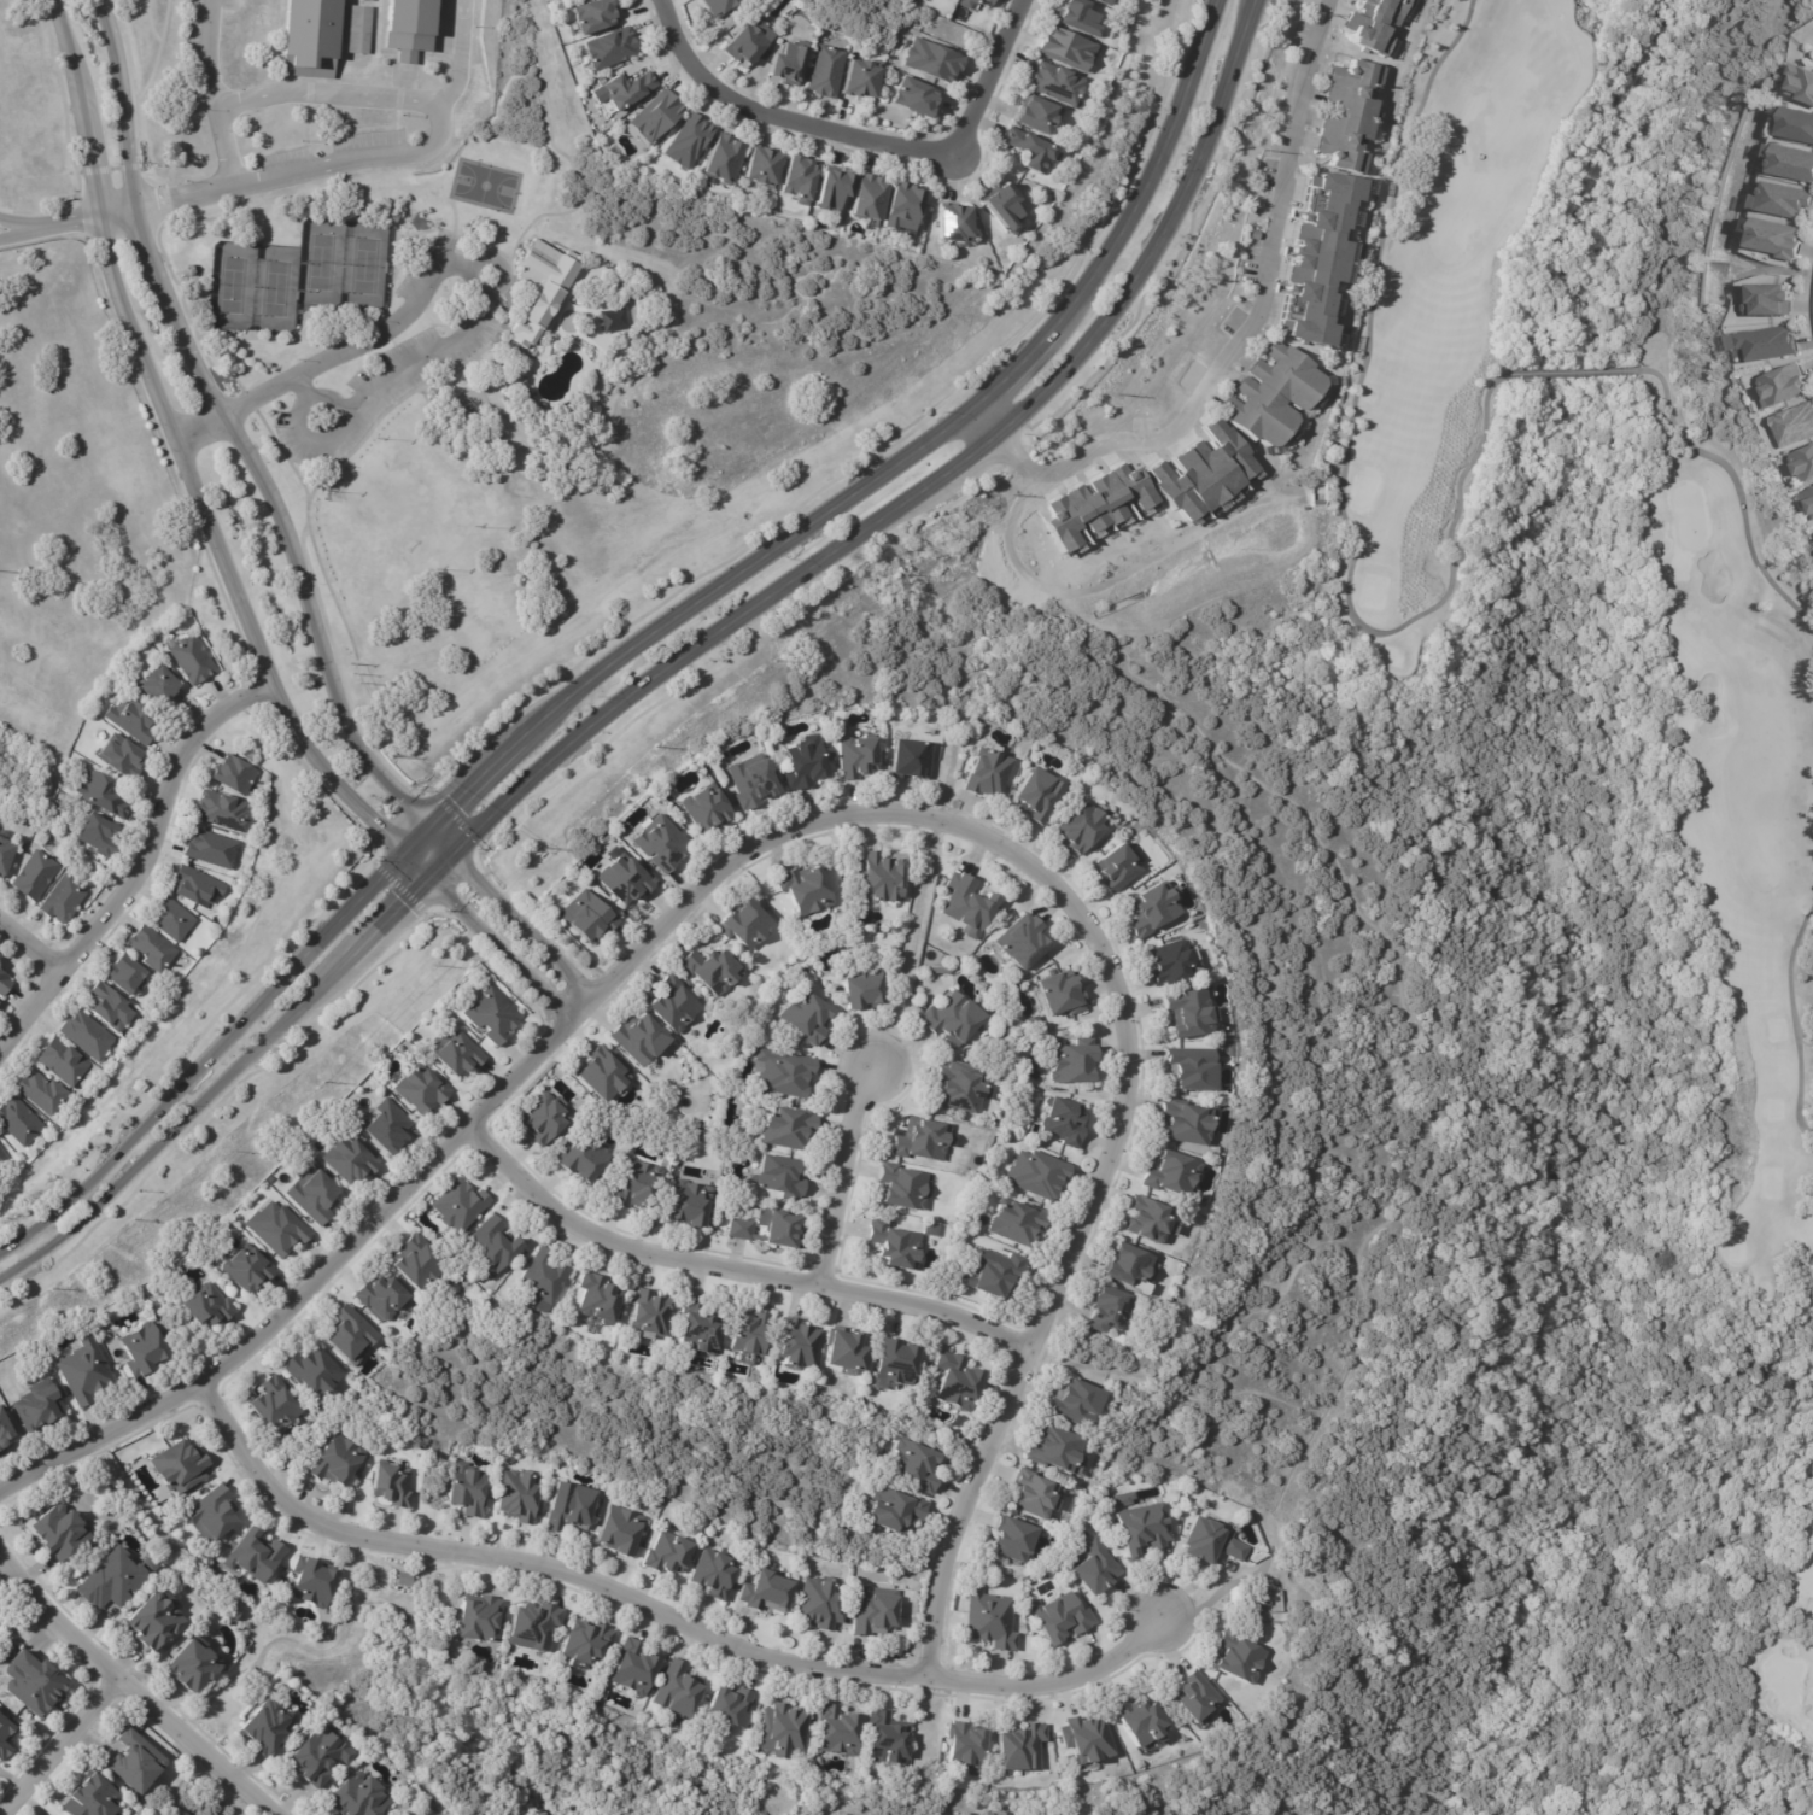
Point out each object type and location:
building: (952, 0)
building: (955, 0)
building: (1104, 1)
building: (1110, 1)
building: (976, 2)
building: (718, 6)
building: (1081, 14)
building: (595, 16)
building: (409, 22)
building: (1373, 24)
building: (361, 29)
building: (310, 30)
building: (750, 41)
building: (613, 47)
building: (1069, 47)
building: (932, 59)
building: (788, 66)
building: (829, 70)
building: (864, 80)
building: (1059, 83)
building: (1800, 83)
building: (625, 89)
road: (332, 94)
road: (217, 95)
building: (917, 95)
building: (1345, 109)
building: (1039, 113)
building: (659, 115)
building: (1794, 124)
road: (859, 129)
building: (690, 140)
building: (1030, 148)
building: (727, 157)
building: (1789, 163)
road: (359, 165)
building: (765, 165)
building: (801, 180)
park: (484, 185)
building: (832, 188)
building: (870, 197)
building: (1780, 200)
building: (1001, 203)
building: (905, 206)
road: (113, 217)
building: (954, 221)
road: (43, 223)
road: (43, 233)
building: (1774, 239)
building: (1311, 254)
park: (320, 260)
park: (363, 264)
park: (230, 285)
park: (274, 287)
building: (544, 289)
road: (484, 299)
building: (1770, 300)
building: (610, 318)
road: (1238, 341)
building: (1767, 342)
building: (1783, 386)
building: (1267, 390)
park: (558, 397)
road: (328, 404)
building: (1794, 425)
building: (1803, 464)
building: (1807, 499)
road: (290, 534)
road: (212, 566)
road: (1111, 579)
road: (643, 637)
park: (1721, 642)
building: (193, 660)
road: (672, 663)
building: (160, 687)
building: (133, 720)
building: (860, 754)
building: (914, 756)
building: (122, 757)
building: (809, 762)
building: (990, 772)
building: (235, 775)
building: (751, 781)
building: (1042, 794)
building: (103, 796)
building: (709, 807)
building: (223, 812)
traffic signals: (425, 824)
road: (841, 824)
building: (1086, 824)
building: (99, 836)
building: (662, 843)
traffic signals: (451, 848)
building: (212, 850)
traffic signals: (398, 854)
building: (5, 857)
building: (1118, 867)
road: (136, 871)
building: (883, 874)
traffic signals: (421, 876)
building: (35, 877)
building: (626, 879)
building: (197, 888)
building: (806, 892)
building: (64, 901)
building: (970, 904)
building: (1157, 908)
building: (590, 915)
building: (172, 921)
building: (748, 926)
building: (1024, 939)
road: (31, 948)
building: (153, 950)
building: (0, 959)
building: (1175, 960)
building: (713, 971)
building: (127, 978)
building: (864, 985)
building: (5, 986)
building: (1064, 993)
building: (674, 1006)
building: (110, 1009)
building: (1194, 1011)
building: (493, 1015)
building: (954, 1015)
building: (808, 1017)
building: (87, 1037)
building: (642, 1038)
building: (457, 1052)
building: (1076, 1062)
building: (63, 1064)
building: (1197, 1067)
building: (604, 1073)
building: (788, 1073)
building: (963, 1087)
building: (422, 1089)
building: (41, 1094)
building: (545, 1117)
building: (1068, 1122)
building: (1191, 1122)
building: (19, 1123)
building: (387, 1126)
building: (790, 1128)
building: (924, 1138)
building: (583, 1155)
building: (352, 1159)
building: (2, 1160)
building: (1174, 1171)
road: (842, 1173)
building: (1040, 1173)
building: (780, 1176)
building: (639, 1184)
building: (902, 1185)
building: (316, 1195)
building: (691, 1204)
building: (461, 1205)
building: (1152, 1218)
building: (1016, 1224)
building: (279, 1228)
building: (767, 1230)
building: (893, 1242)
building: (495, 1245)
building: (420, 1263)
building: (1130, 1264)
building: (248, 1269)
building: (1001, 1274)
road: (733, 1275)
building: (546, 1276)
building: (384, 1296)
building: (600, 1298)
building: (210, 1306)
building: (1111, 1308)
building: (653, 1312)
building: (698, 1328)
building: (753, 1333)
building: (351, 1334)
building: (799, 1343)
building: (850, 1348)
building: (145, 1349)
building: (901, 1362)
building: (84, 1371)
building: (315, 1371)
building: (958, 1382)
building: (1080, 1403)
building: (39, 1405)
building: (276, 1405)
building: (5, 1429)
building: (1059, 1448)
building: (338, 1462)
building: (917, 1465)
building: (181, 1468)
building: (394, 1485)
building: (469, 1489)
building: (1039, 1494)
building: (521, 1497)
building: (1127, 1499)
building: (572, 1506)
building: (896, 1511)
building: (214, 1514)
building: (1145, 1529)
building: (622, 1530)
building: (59, 1532)
building: (1017, 1539)
building: (1210, 1541)
building: (256, 1555)
building: (669, 1555)
building: (1095, 1568)
building: (715, 1574)
building: (405, 1580)
building: (113, 1581)
building: (315, 1582)
building: (765, 1592)
building: (823, 1604)
building: (877, 1611)
building: (480, 1616)
building: (1065, 1616)
road: (663, 1618)
building: (993, 1620)
building: (156, 1622)
building: (537, 1627)
building: (586, 1641)
park: (1794, 1651)
building: (1238, 1653)
building: (194, 1667)
building: (633, 1668)
building: (36, 1684)
building: (680, 1690)
road: (127, 1691)
building: (1197, 1697)
building: (731, 1705)
building: (1142, 1721)
building: (265, 1729)
building: (785, 1731)
building: (838, 1731)
building: (6, 1737)
building: (888, 1737)
building: (1089, 1740)
building: (967, 1746)
building: (1025, 1747)
road: (66, 1751)
building: (320, 1756)
building: (136, 1763)
building: (361, 1797)
building: (93, 1798)

